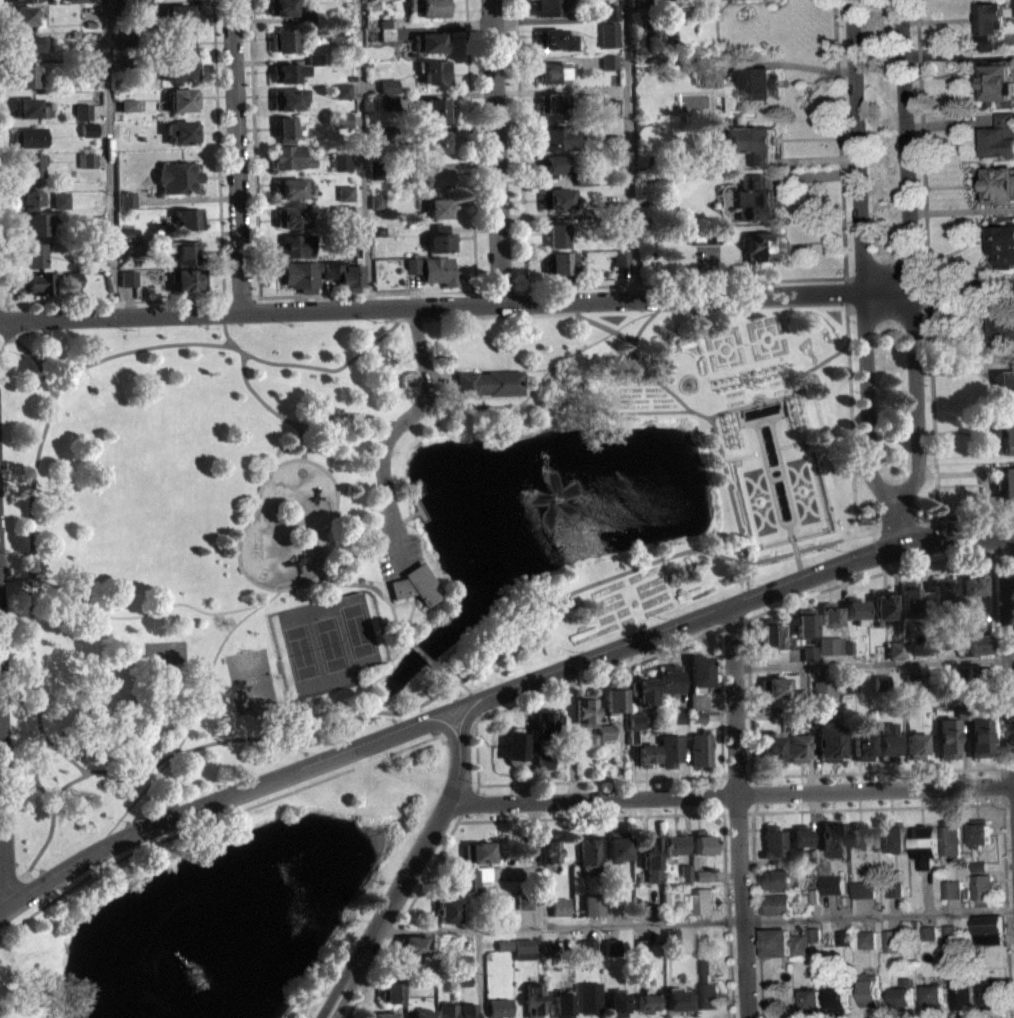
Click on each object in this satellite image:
building: (23, 0)
building: (72, 0)
building: (176, 0)
building: (380, 0)
building: (750, 2)
building: (91, 3)
building: (639, 3)
building: (429, 6)
building: (548, 6)
building: (281, 7)
building: (142, 9)
building: (610, 11)
building: (21, 14)
building: (180, 14)
building: (992, 17)
building: (306, 18)
building: (90, 21)
building: (388, 23)
building: (611, 27)
building: (387, 33)
building: (93, 34)
building: (334, 34)
building: (126, 39)
building: (283, 39)
building: (554, 39)
building: (181, 41)
building: (430, 41)
building: (25, 42)
building: (333, 42)
building: (28, 50)
building: (314, 58)
building: (609, 60)
building: (94, 66)
building: (609, 68)
building: (182, 69)
building: (435, 70)
building: (287, 72)
building: (552, 72)
building: (710, 73)
building: (23, 75)
building: (760, 81)
building: (996, 81)
building: (389, 85)
building: (342, 90)
building: (287, 98)
building: (182, 99)
building: (390, 102)
building: (553, 102)
building: (128, 105)
building: (30, 107)
building: (434, 108)
building: (614, 110)
building: (83, 111)
building: (128, 112)
building: (343, 119)
building: (343, 126)
building: (88, 128)
building: (285, 129)
building: (181, 131)
building: (392, 132)
building: (28, 136)
building: (88, 136)
building: (559, 136)
building: (998, 136)
building: (437, 141)
building: (616, 142)
road: (520, 143)
building: (753, 143)
road: (921, 143)
road: (218, 148)
road: (254, 148)
road: (629, 149)
road: (496, 151)
road: (839, 151)
road: (362, 153)
road: (236, 154)
building: (291, 156)
road: (109, 157)
building: (86, 159)
building: (342, 162)
building: (555, 163)
building: (29, 165)
building: (376, 169)
building: (177, 176)
building: (437, 176)
building: (997, 184)
building: (290, 187)
road: (472, 188)
building: (345, 192)
building: (557, 197)
building: (754, 197)
building: (28, 198)
building: (126, 198)
building: (60, 200)
building: (377, 200)
building: (438, 206)
building: (376, 208)
building: (613, 208)
building: (341, 211)
building: (290, 216)
building: (188, 218)
building: (341, 219)
road: (2, 221)
building: (34, 223)
building: (86, 226)
building: (378, 230)
building: (128, 233)
building: (558, 234)
building: (704, 234)
building: (440, 238)
building: (129, 240)
building: (342, 243)
building: (296, 244)
building: (761, 245)
building: (1002, 246)
building: (132, 248)
building: (82, 249)
building: (183, 249)
building: (30, 254)
building: (133, 255)
road: (909, 255)
road: (864, 256)
building: (620, 257)
building: (560, 262)
building: (413, 265)
building: (331, 268)
building: (438, 271)
building: (300, 275)
building: (351, 276)
building: (71, 278)
building: (128, 278)
building: (186, 279)
road: (769, 279)
building: (37, 282)
building: (71, 287)
road: (265, 295)
road: (2, 303)
road: (507, 303)
road: (896, 306)
road: (8, 310)
road: (487, 315)
road: (846, 323)
road: (604, 325)
road: (225, 329)
building: (1003, 329)
road: (517, 336)
road: (581, 345)
road: (34, 357)
road: (57, 360)
road: (513, 368)
building: (779, 370)
building: (753, 379)
road: (441, 380)
building: (488, 382)
building: (728, 382)
building: (1004, 385)
road: (787, 393)
road: (780, 397)
road: (482, 399)
road: (260, 400)
road: (554, 401)
road: (738, 407)
road: (52, 411)
building: (798, 413)
road: (335, 414)
road: (763, 418)
road: (932, 423)
road: (396, 426)
building: (730, 429)
building: (1004, 431)
road: (715, 432)
road: (804, 439)
road: (785, 444)
road: (743, 455)
road: (775, 466)
road: (777, 477)
building: (1004, 482)
fountain: (556, 495)
road: (333, 517)
road: (248, 522)
road: (789, 522)
road: (895, 524)
road: (899, 525)
road: (790, 528)
parking lot: (394, 549)
road: (1003, 550)
road: (982, 553)
road: (349, 554)
road: (797, 558)
building: (974, 582)
building: (416, 585)
building: (942, 589)
road: (388, 592)
building: (973, 593)
park: (349, 596)
building: (923, 597)
building: (909, 598)
road: (405, 602)
road: (728, 606)
building: (883, 606)
building: (855, 609)
building: (829, 614)
road: (124, 617)
road: (409, 617)
building: (968, 617)
building: (803, 621)
road: (732, 622)
building: (971, 628)
building: (773, 635)
road: (222, 641)
road: (748, 641)
park: (324, 643)
building: (978, 643)
building: (830, 645)
building: (847, 646)
building: (895, 649)
road: (1010, 649)
building: (809, 652)
road: (420, 653)
building: (809, 660)
road: (873, 662)
building: (698, 669)
road: (446, 673)
building: (978, 673)
building: (668, 678)
park: (250, 680)
building: (913, 680)
building: (882, 681)
building: (850, 684)
road: (465, 685)
building: (775, 686)
building: (642, 688)
building: (822, 689)
building: (881, 689)
building: (850, 692)
road: (440, 694)
building: (803, 694)
building: (614, 697)
road: (720, 701)
building: (697, 704)
road: (503, 709)
building: (585, 709)
building: (679, 714)
building: (696, 716)
road: (473, 719)
building: (634, 719)
building: (678, 721)
road: (750, 721)
building: (547, 724)
building: (604, 730)
building: (632, 736)
building: (980, 736)
building: (948, 737)
building: (605, 738)
building: (591, 739)
building: (887, 740)
building: (830, 741)
building: (772, 744)
building: (863, 744)
building: (915, 744)
building: (514, 745)
building: (796, 746)
building: (590, 747)
building: (700, 748)
building: (669, 749)
road: (477, 750)
road: (62, 752)
building: (531, 754)
building: (646, 754)
building: (544, 767)
road: (1006, 767)
road: (875, 771)
road: (752, 776)
road: (502, 782)
road: (731, 794)
road: (218, 797)
road: (468, 801)
road: (1007, 803)
road: (877, 807)
road: (738, 811)
road: (2, 814)
road: (630, 815)
road: (214, 818)
road: (496, 819)
building: (979, 830)
building: (861, 835)
building: (800, 836)
building: (892, 837)
building: (949, 837)
building: (834, 838)
building: (774, 840)
building: (675, 842)
building: (703, 843)
building: (618, 844)
building: (923, 844)
building: (478, 849)
building: (549, 849)
building: (589, 850)
building: (523, 853)
building: (650, 856)
building: (476, 859)
building: (779, 859)
road: (537, 862)
building: (978, 865)
road: (408, 869)
road: (25, 871)
building: (686, 871)
building: (470, 875)
building: (704, 875)
building: (776, 878)
building: (482, 880)
building: (704, 882)
road: (7, 883)
building: (831, 884)
road: (38, 886)
building: (893, 888)
building: (951, 888)
building: (983, 888)
building: (862, 889)
building: (964, 893)
building: (893, 897)
road: (47, 898)
building: (701, 900)
building: (525, 901)
road: (1003, 902)
building: (776, 903)
building: (593, 905)
building: (559, 906)
building: (643, 907)
building: (447, 908)
building: (524, 909)
road: (755, 914)
building: (642, 915)
road: (726, 915)
road: (401, 918)
road: (694, 921)
building: (987, 923)
building: (927, 932)
building: (948, 932)
building: (813, 934)
building: (671, 937)
building: (841, 937)
building: (986, 938)
building: (865, 939)
building: (948, 939)
building: (891, 940)
building: (927, 940)
building: (773, 941)
building: (813, 941)
building: (412, 943)
building: (798, 943)
building: (504, 944)
building: (643, 945)
building: (841, 945)
building: (550, 946)
building: (586, 946)
building: (612, 946)
building: (987, 946)
building: (523, 948)
building: (412, 952)
building: (504, 952)
building: (642, 953)
building: (405, 961)
building: (405, 972)
road: (479, 973)
building: (707, 986)
building: (390, 990)
building: (990, 990)
building: (868, 991)
building: (958, 992)
building: (901, 994)
building: (932, 994)
building: (590, 996)
building: (533, 998)
building: (810, 998)
building: (389, 999)
building: (837, 999)
building: (679, 1000)
building: (648, 1001)
building: (618, 1002)
building: (562, 1004)
building: (499, 1007)
building: (446, 1014)
building: (467, 1014)
building: (424, 1017)

